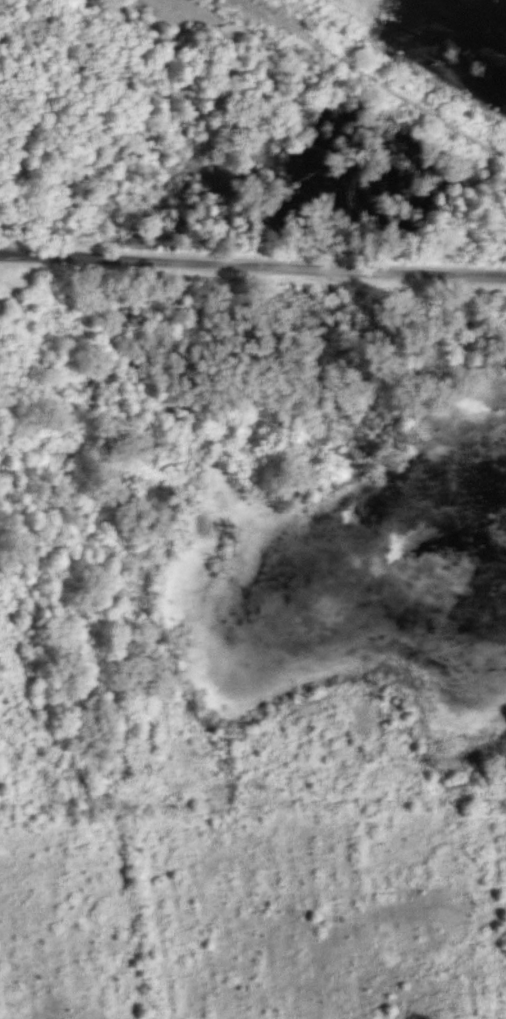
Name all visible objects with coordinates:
road: (252, 270)

